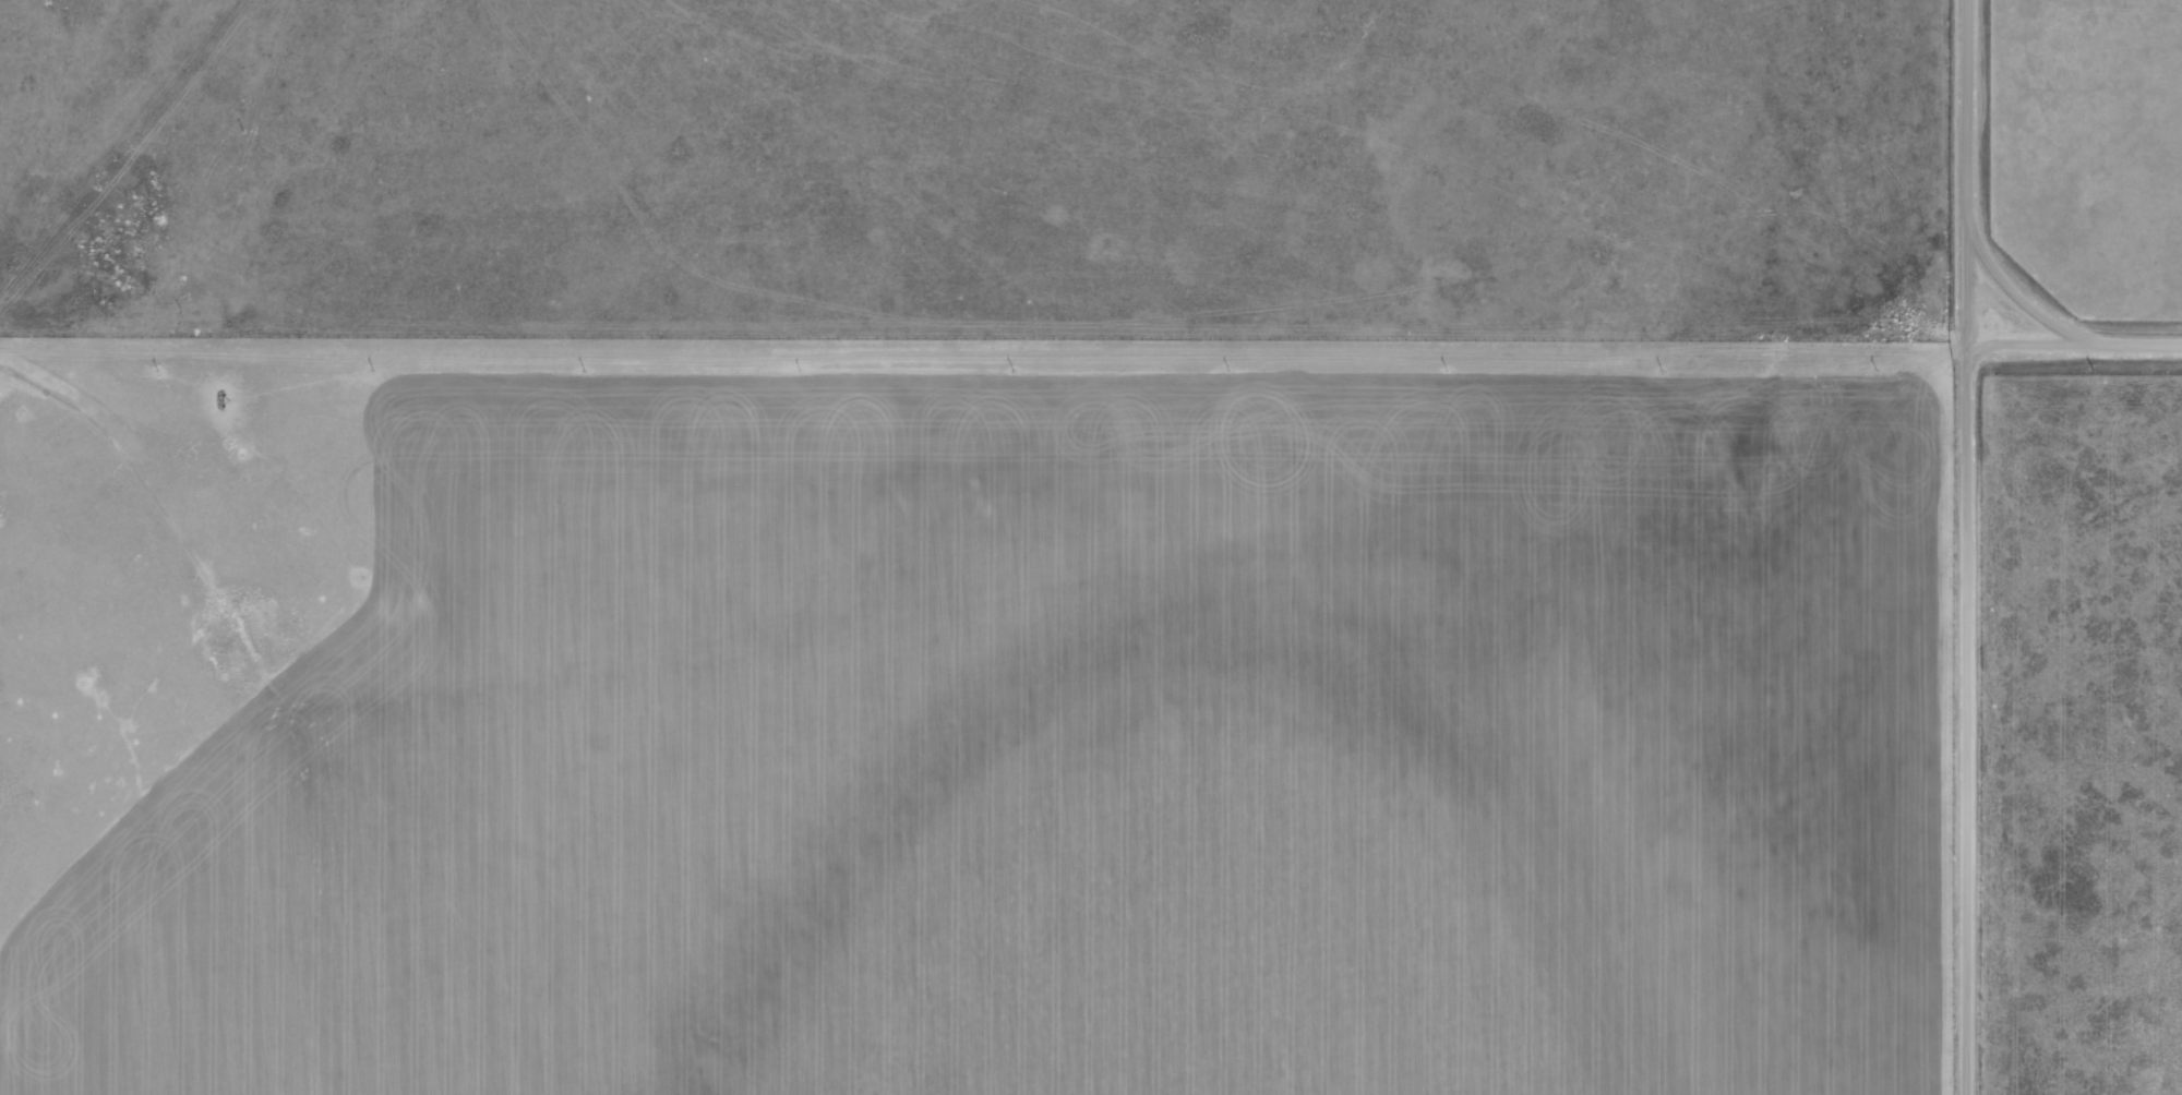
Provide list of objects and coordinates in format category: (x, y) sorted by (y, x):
road: (2019, 294)
road: (1090, 354)
road: (1969, 547)

